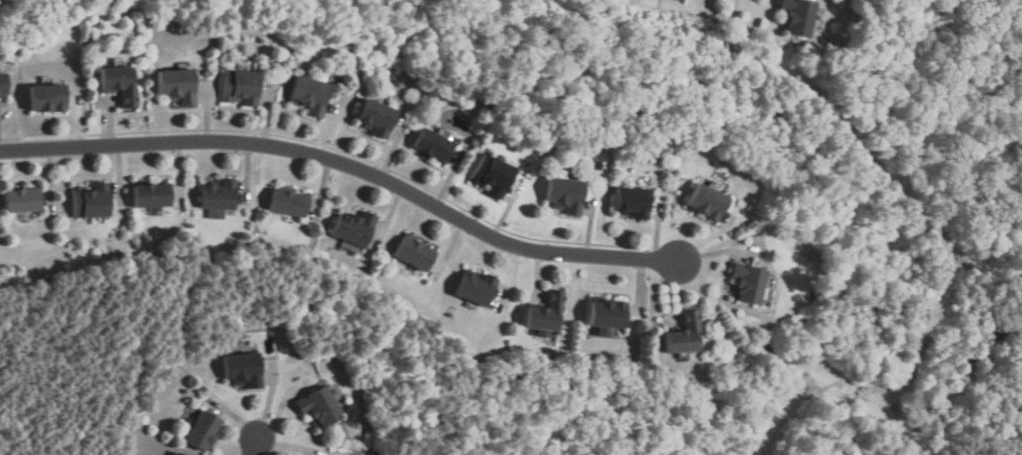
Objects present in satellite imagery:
building: (677, 0)
building: (798, 18)
building: (121, 84)
building: (3, 85)
building: (179, 86)
building: (242, 88)
building: (311, 96)
building: (47, 98)
building: (378, 118)
building: (436, 146)
road: (347, 163)
building: (496, 176)
building: (568, 195)
building: (152, 196)
building: (220, 199)
building: (94, 201)
building: (27, 202)
building: (635, 202)
building: (709, 203)
building: (289, 204)
building: (354, 229)
building: (414, 254)
building: (750, 283)
building: (476, 289)
building: (547, 313)
building: (608, 316)
building: (683, 336)
building: (244, 368)
building: (321, 406)
building: (205, 428)
road: (253, 444)
building: (180, 453)
building: (171, 454)

